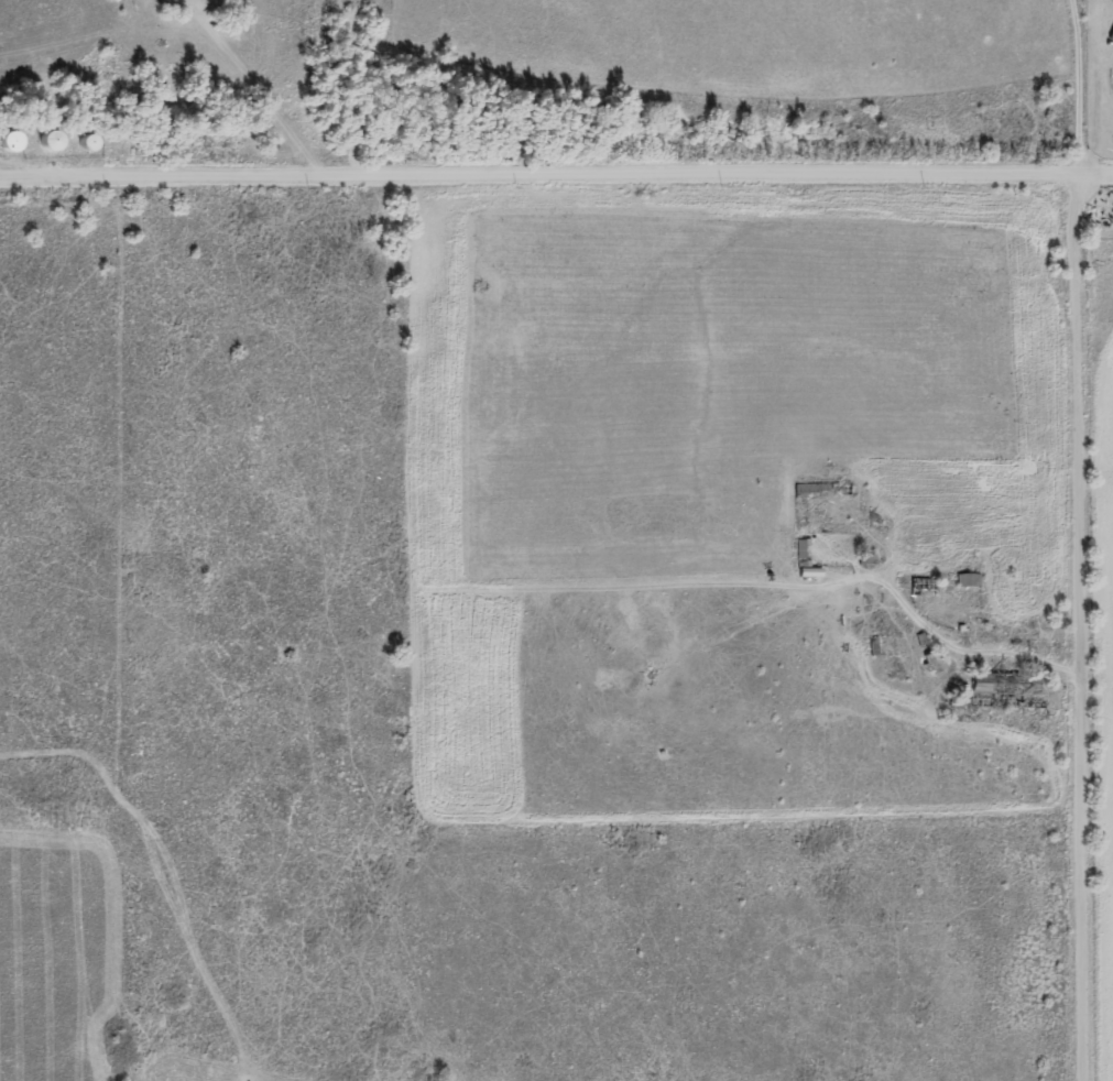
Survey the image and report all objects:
building: (167, 2)
building: (43, 142)
building: (8, 143)
road: (1091, 166)
road: (535, 171)
building: (805, 561)
road: (1083, 623)
building: (932, 664)

